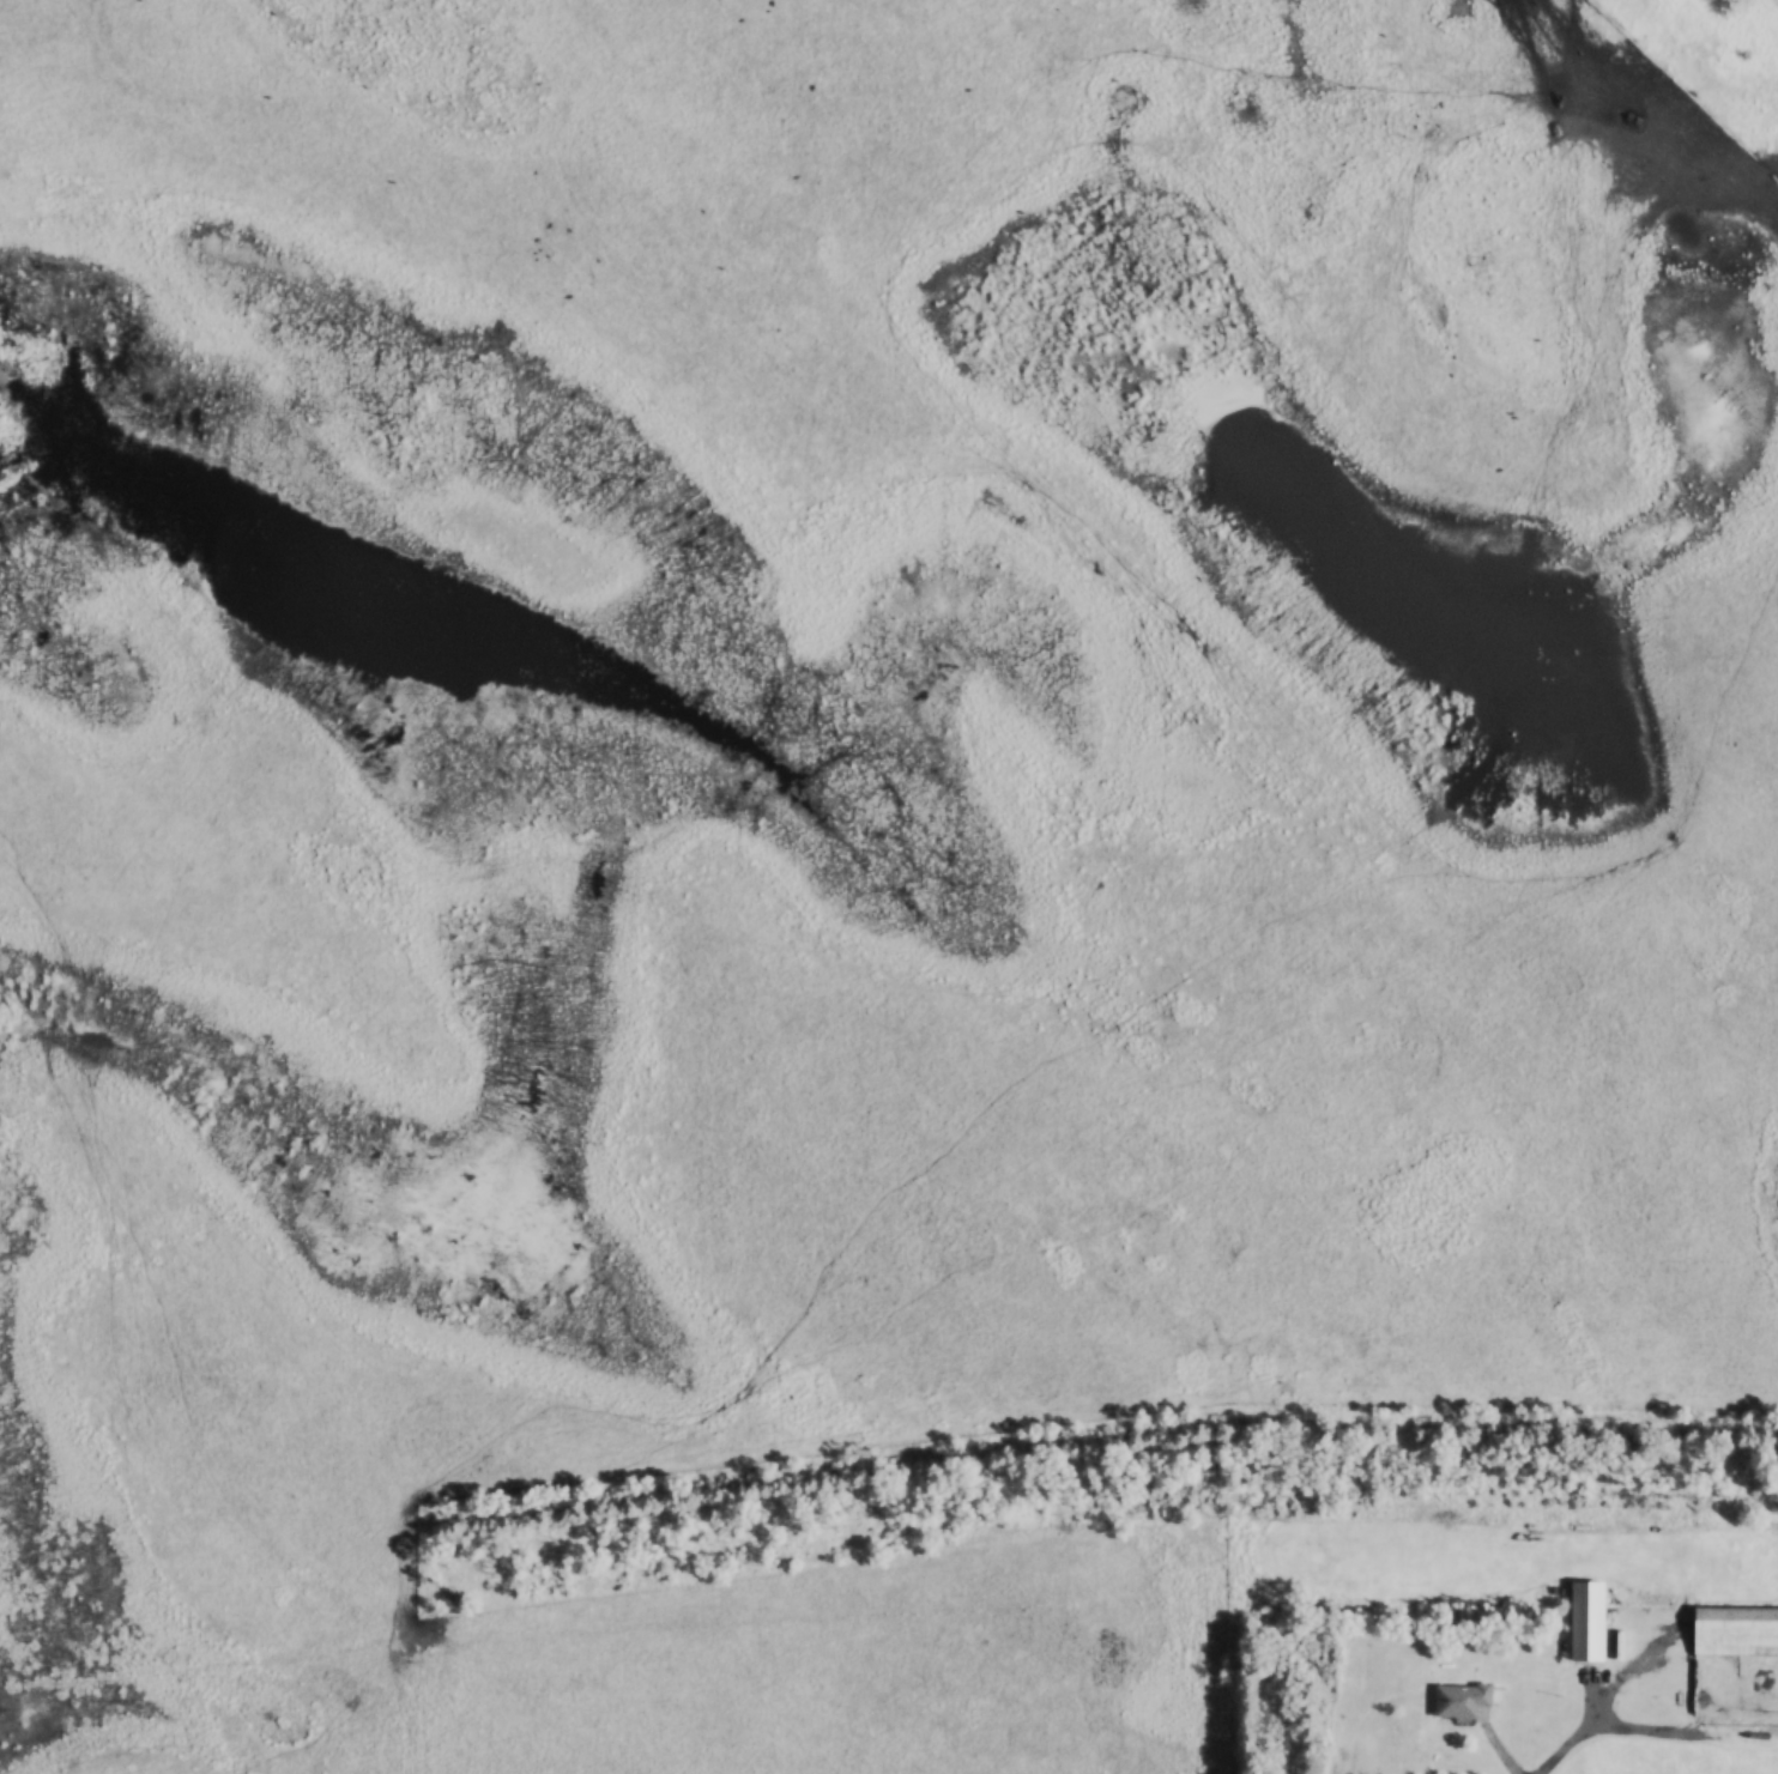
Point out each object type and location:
building: (1590, 1619)
building: (1737, 1633)
building: (1456, 1700)
road: (1506, 1755)

